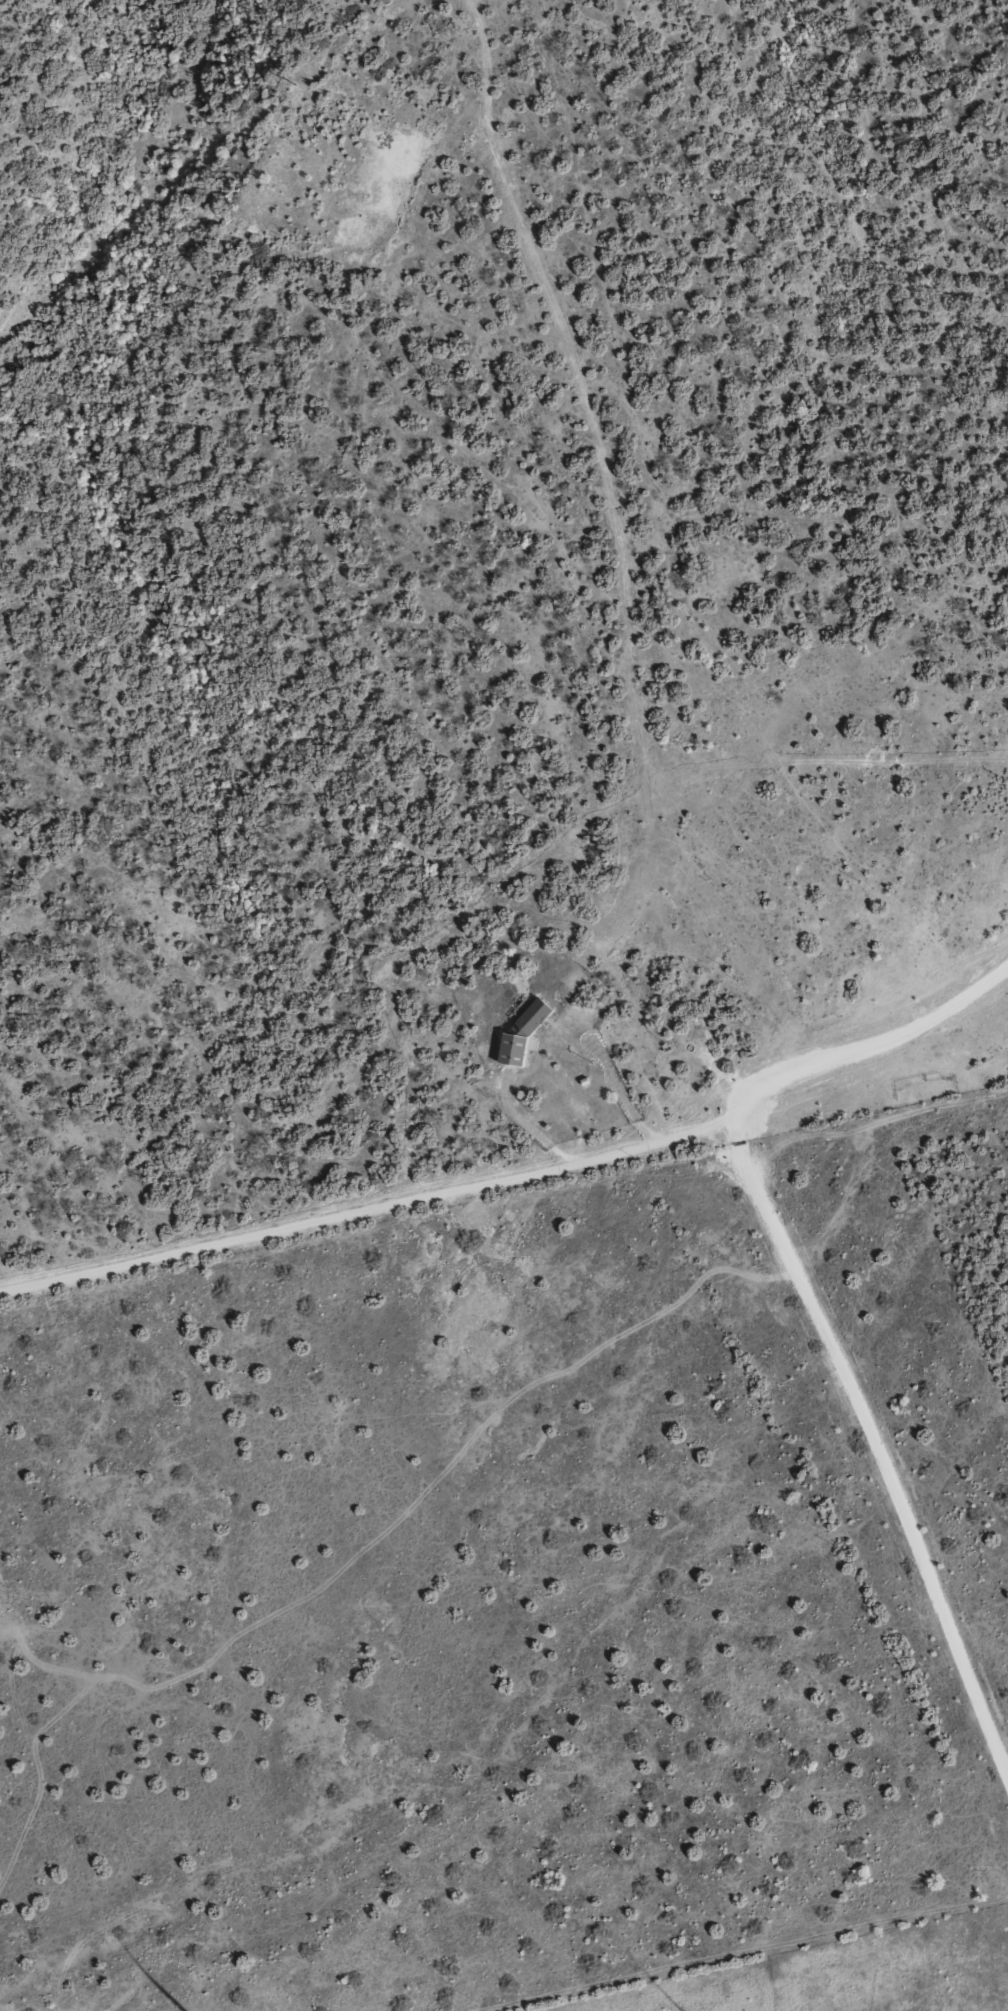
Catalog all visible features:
power tower: (293, 86)
road: (594, 557)
building: (533, 1015)
road: (524, 1123)
road: (523, 1173)

